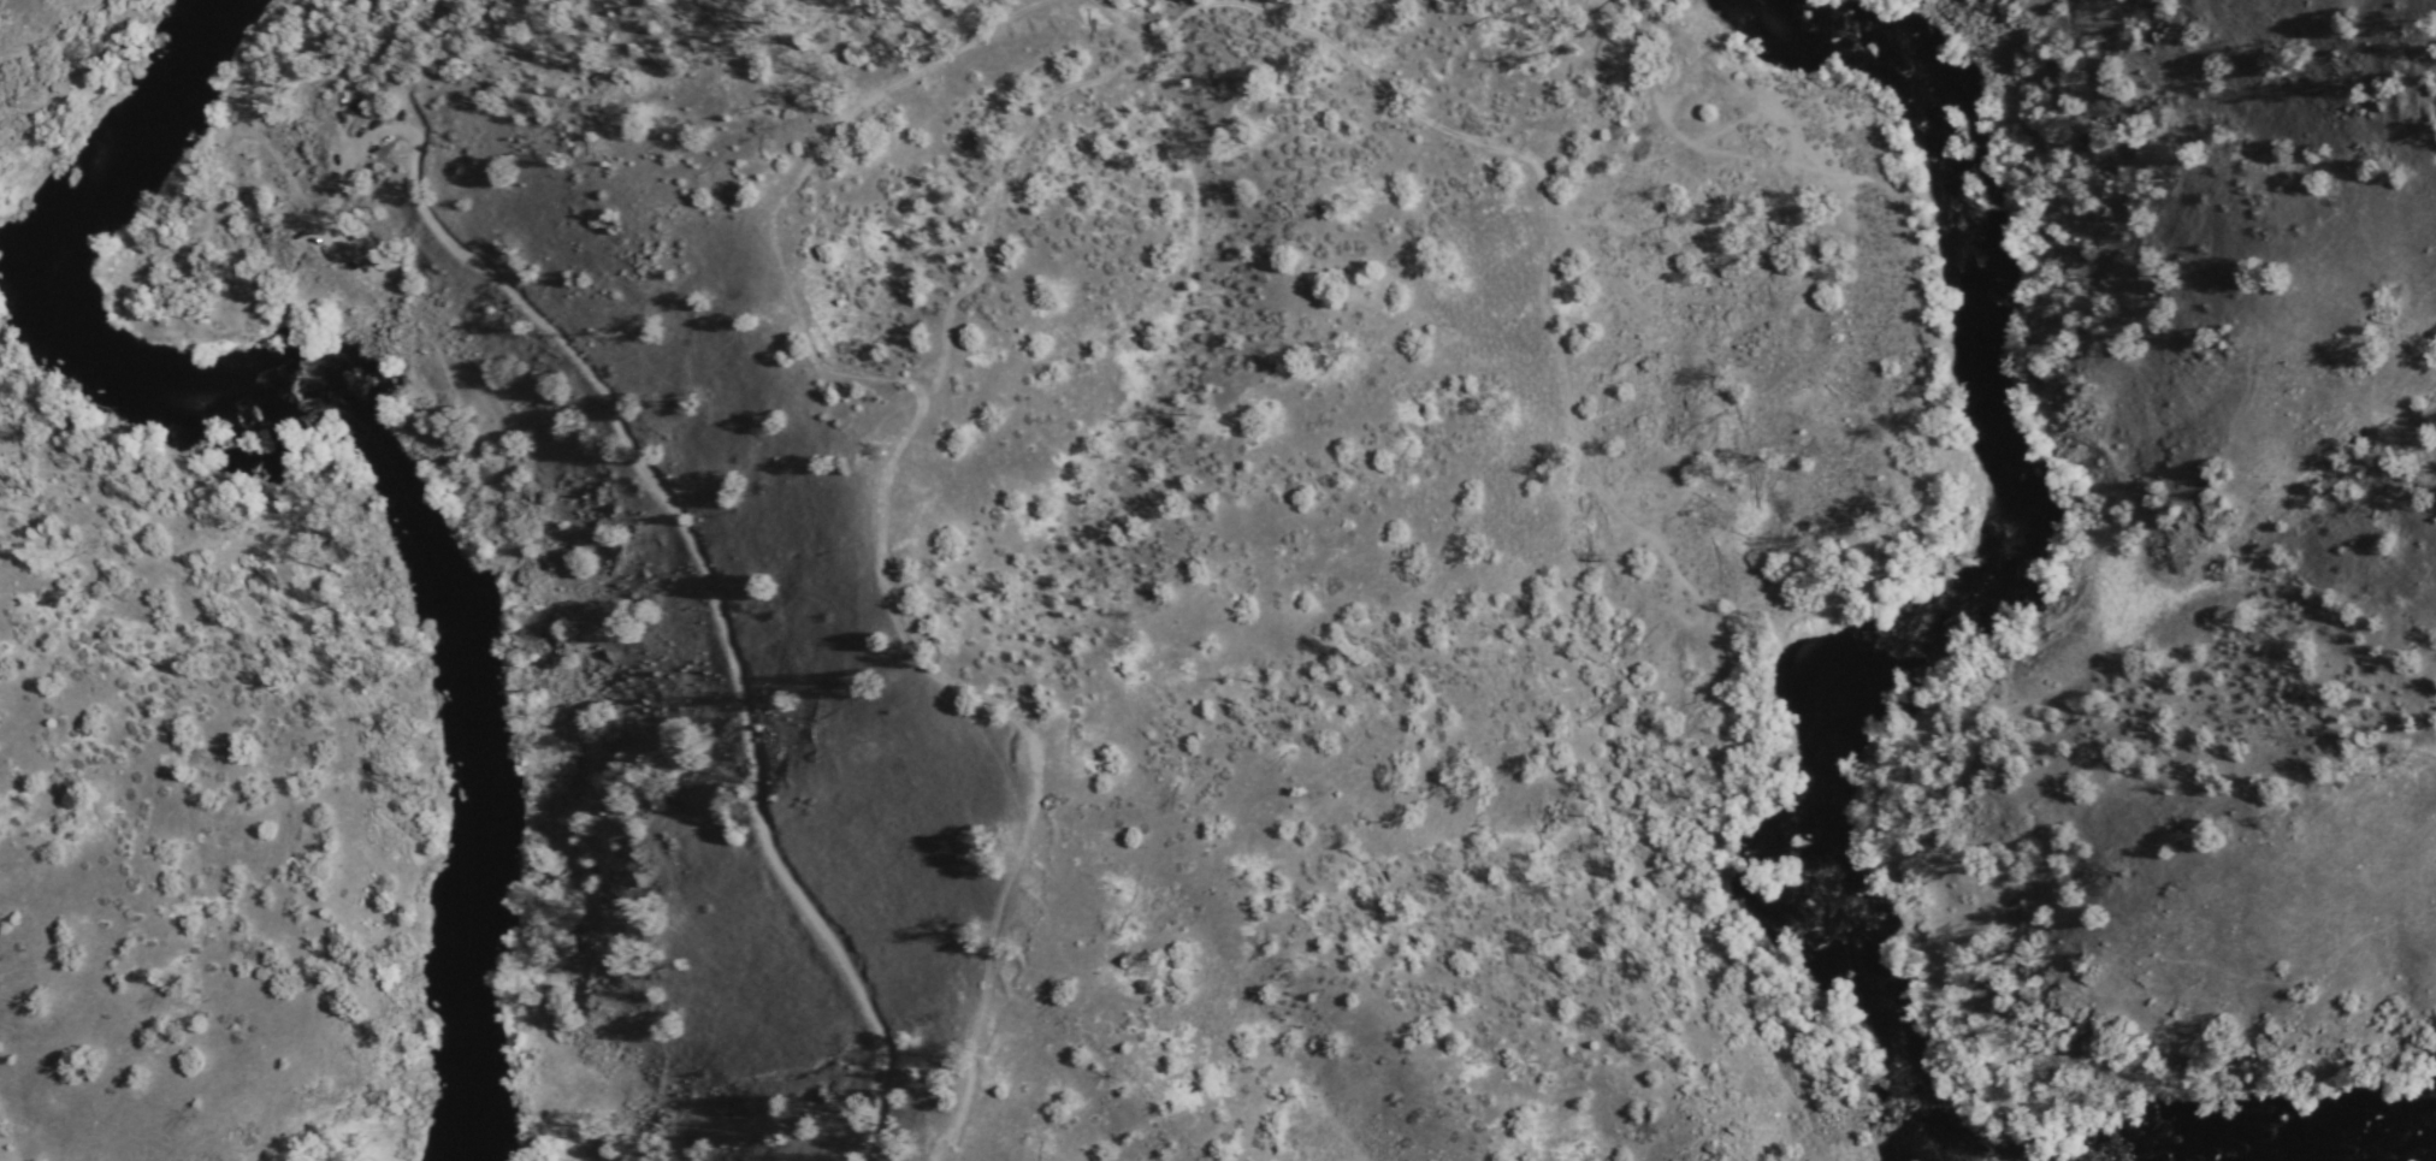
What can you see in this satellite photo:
road: (868, 184)
river: (378, 462)
road: (694, 475)
river: (1963, 550)
river: (2391, 1153)

